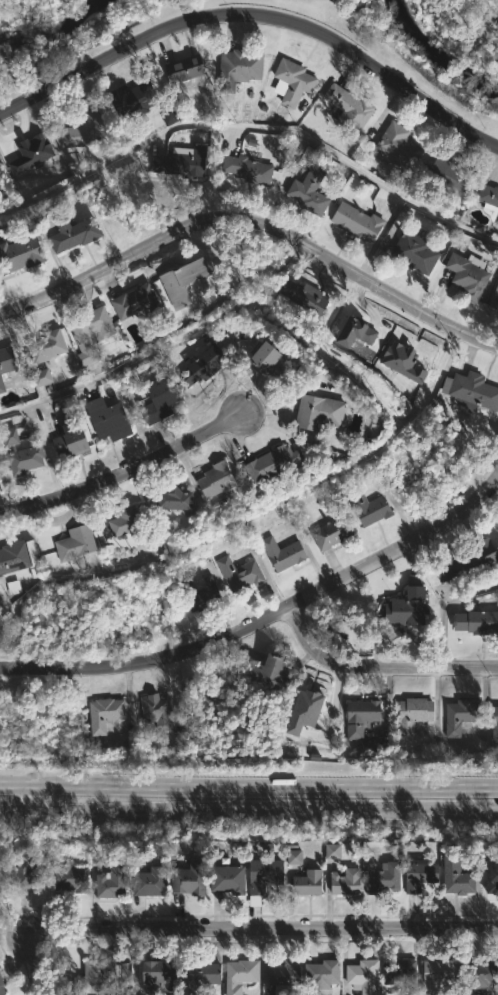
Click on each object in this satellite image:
road: (254, 19)
park: (62, 28)
park: (428, 43)
building: (243, 65)
building: (188, 68)
building: (295, 82)
building: (136, 99)
building: (352, 108)
building: (167, 116)
building: (87, 128)
road: (254, 129)
building: (400, 145)
building: (31, 154)
building: (184, 161)
building: (249, 168)
building: (450, 176)
building: (311, 191)
building: (490, 200)
building: (358, 221)
road: (252, 228)
building: (78, 233)
building: (23, 253)
building: (417, 253)
building: (469, 276)
building: (186, 282)
building: (308, 297)
building: (494, 300)
building: (141, 303)
building: (92, 333)
building: (354, 333)
building: (48, 346)
road: (162, 346)
building: (269, 358)
building: (207, 360)
building: (401, 362)
building: (7, 365)
building: (40, 377)
building: (473, 389)
building: (161, 400)
building: (320, 411)
building: (109, 419)
building: (72, 442)
road: (45, 451)
building: (25, 460)
building: (275, 465)
road: (122, 473)
building: (0, 477)
building: (218, 479)
building: (176, 500)
building: (372, 509)
building: (126, 521)
building: (334, 533)
building: (77, 543)
building: (283, 553)
building: (14, 558)
building: (470, 562)
building: (241, 573)
building: (201, 594)
building: (408, 605)
road: (443, 606)
road: (264, 622)
building: (477, 622)
road: (380, 667)
building: (273, 675)
building: (158, 711)
building: (304, 711)
building: (106, 714)
building: (416, 714)
building: (463, 716)
building: (364, 717)
building: (493, 725)
road: (249, 784)
road: (35, 796)
road: (248, 808)
building: (331, 851)
building: (293, 857)
building: (28, 869)
building: (268, 872)
building: (393, 872)
building: (73, 875)
building: (421, 875)
building: (461, 876)
building: (230, 877)
building: (191, 878)
building: (112, 880)
building: (151, 880)
building: (349, 881)
building: (492, 881)
building: (312, 882)
road: (270, 922)
road: (36, 963)
building: (398, 970)
building: (163, 972)
building: (99, 973)
building: (286, 974)
building: (438, 974)
building: (479, 974)
building: (205, 975)
building: (242, 975)
building: (324, 976)
building: (365, 976)
building: (3, 984)
building: (402, 994)

